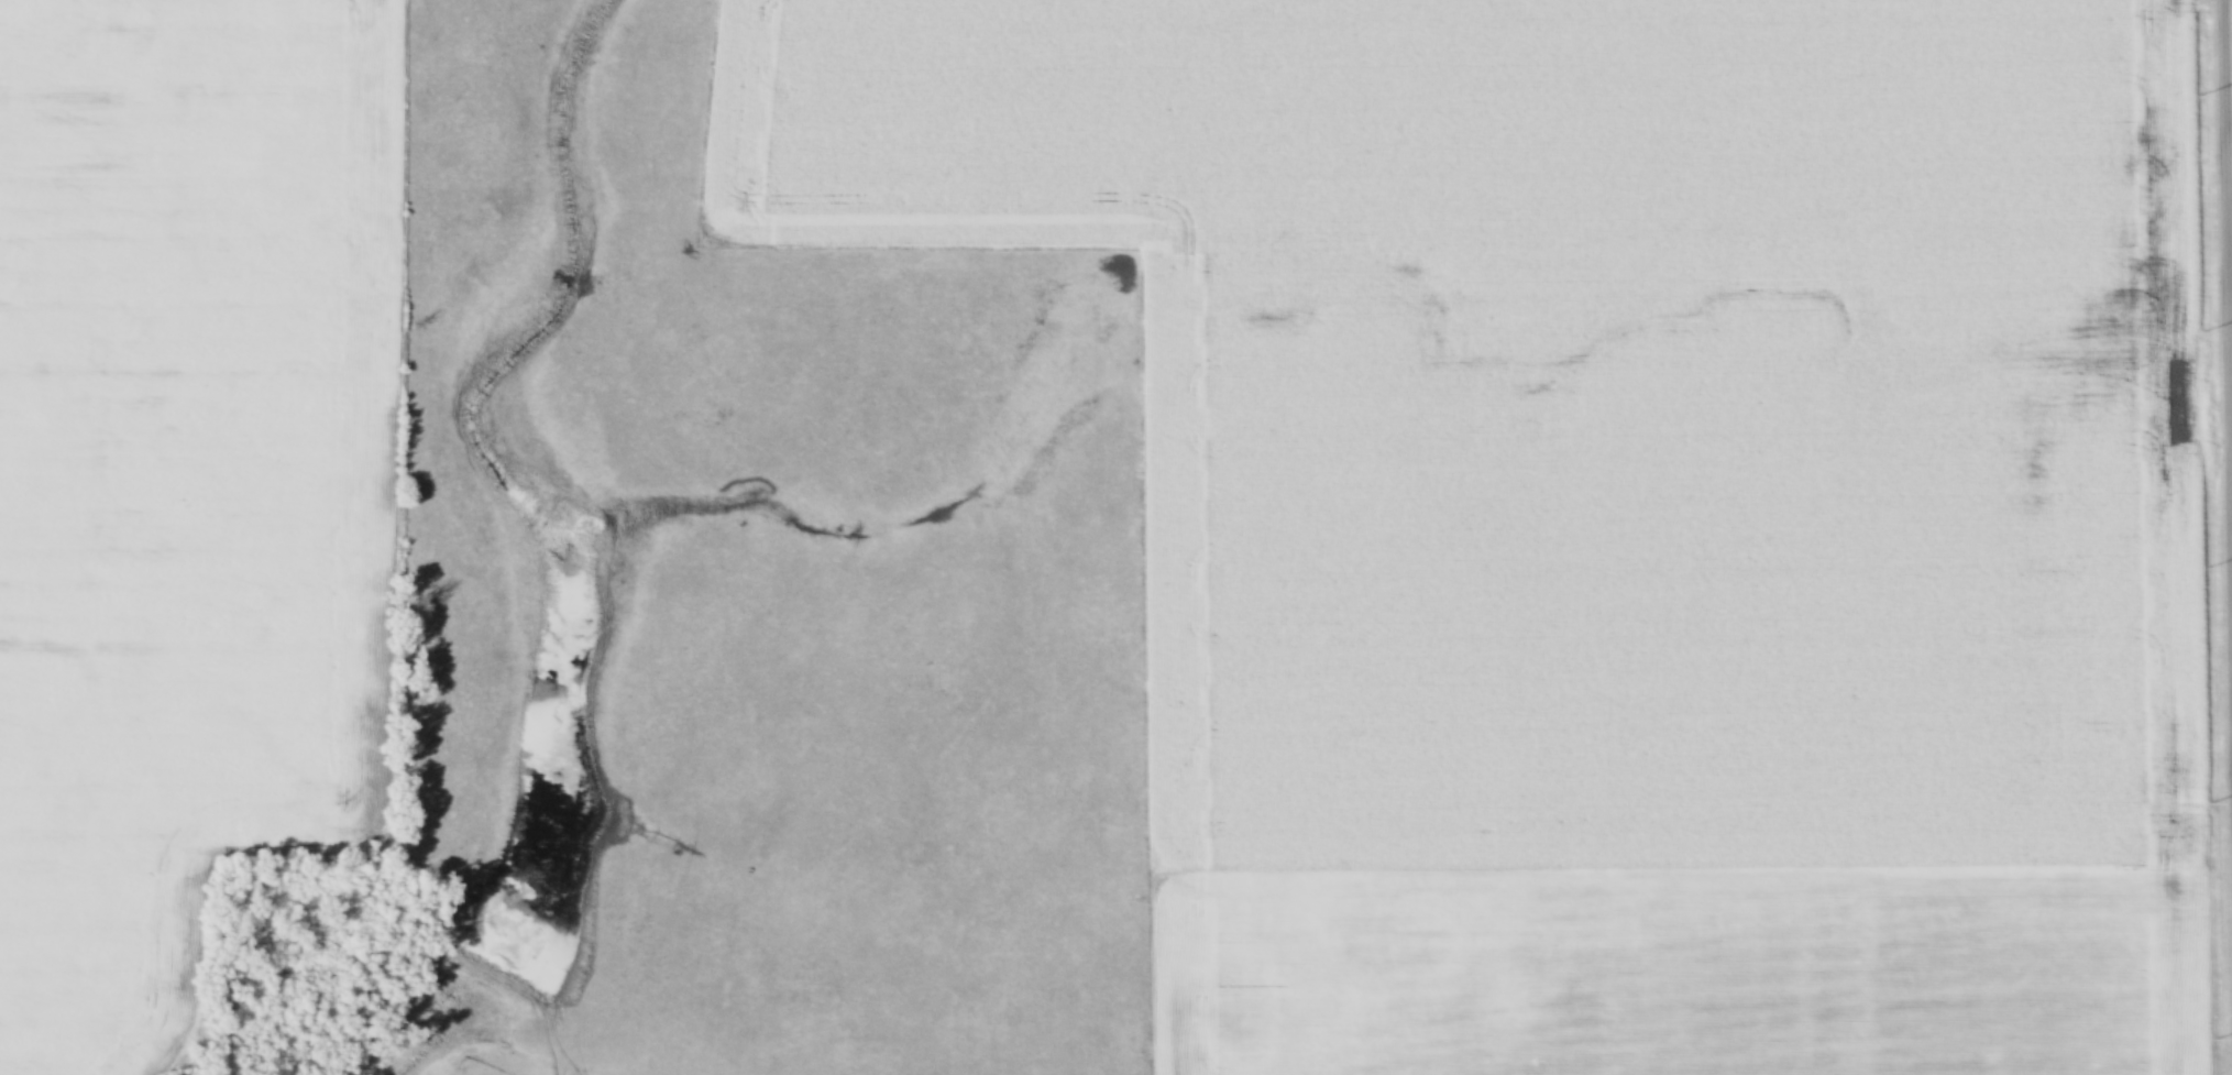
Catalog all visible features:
road: (2223, 431)

